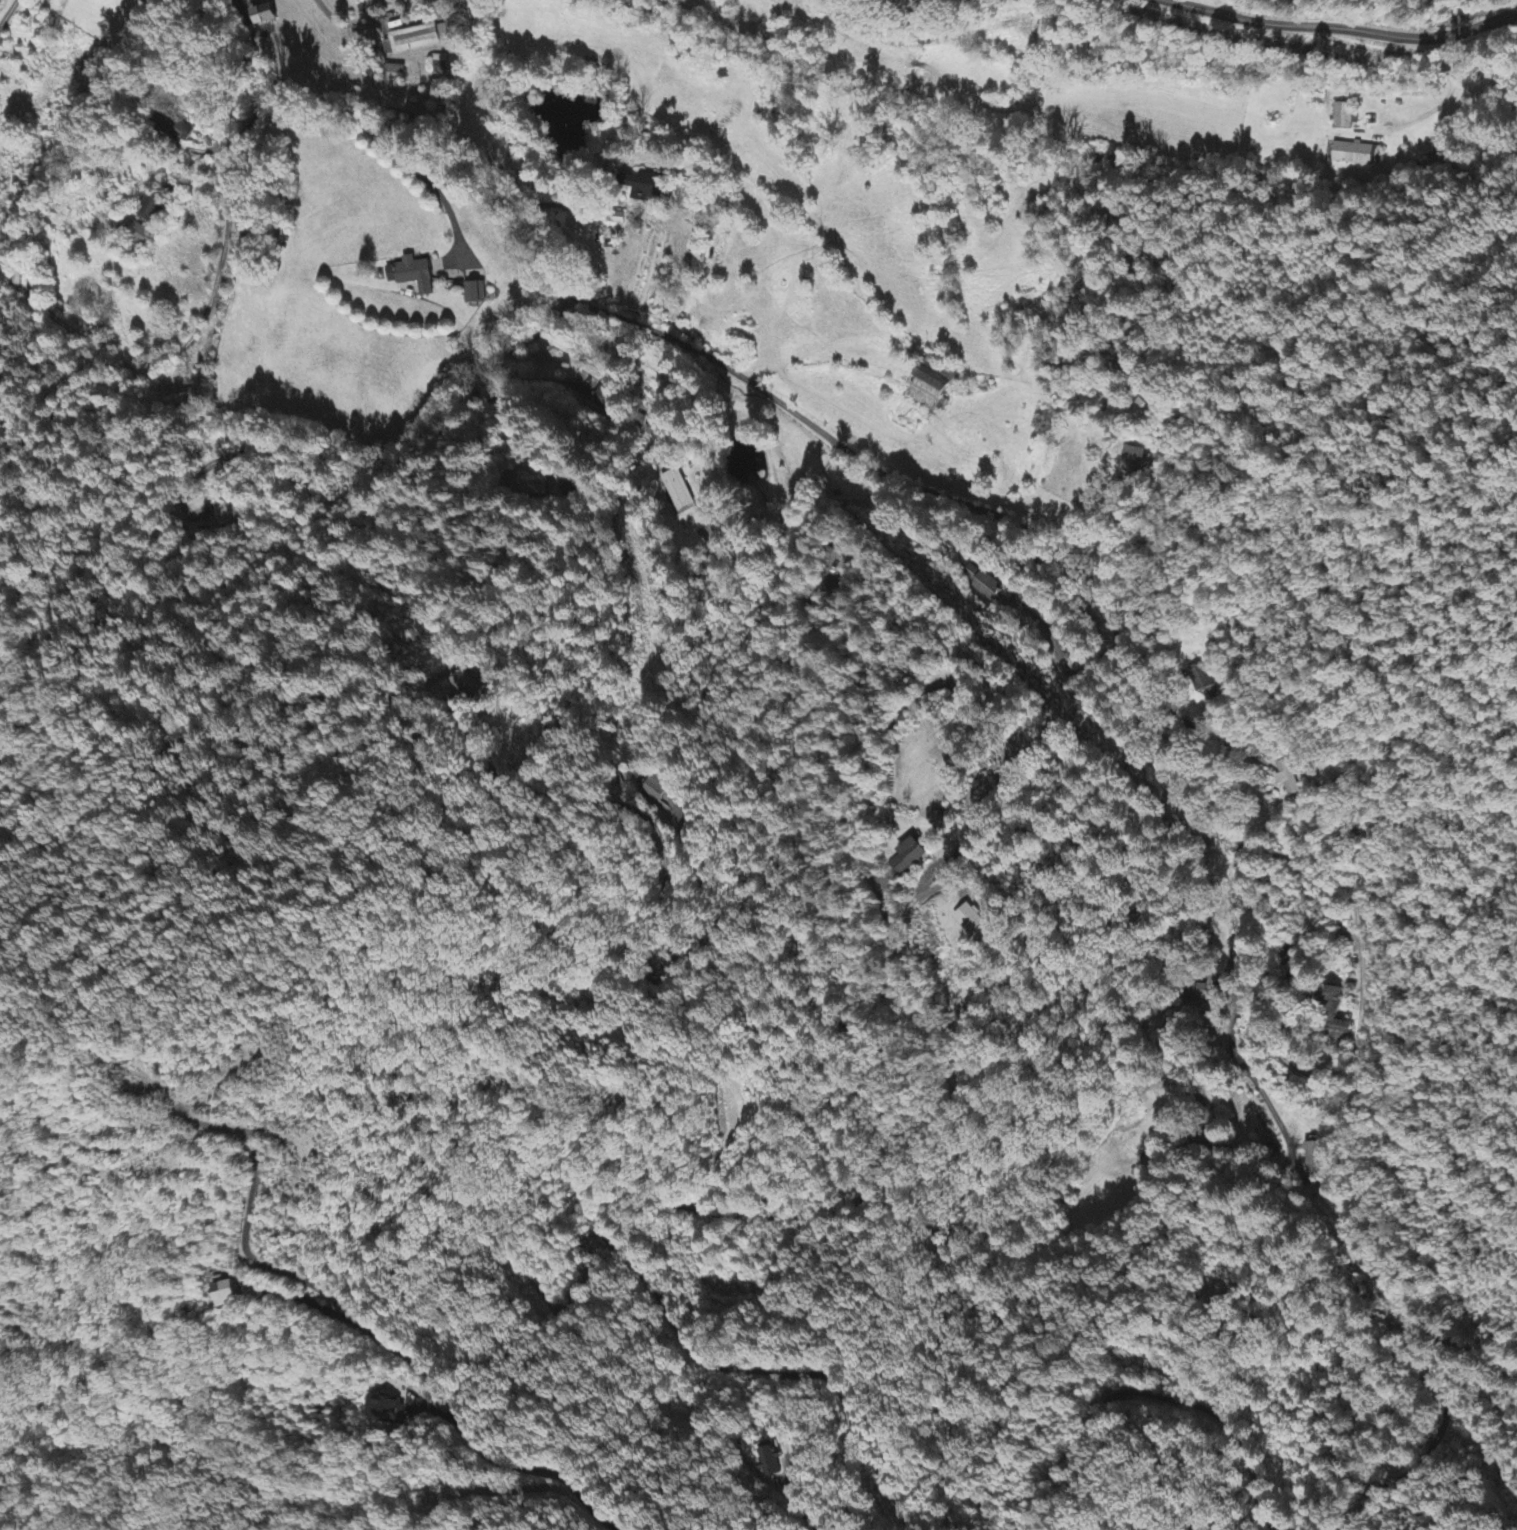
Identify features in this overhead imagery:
road: (8, 12)
building: (264, 15)
road: (1419, 38)
building: (417, 39)
road: (1342, 39)
building: (439, 65)
building: (1342, 117)
road: (254, 118)
building: (177, 132)
road: (184, 145)
building: (1356, 154)
road: (202, 166)
road: (422, 176)
building: (648, 188)
building: (149, 208)
building: (136, 232)
building: (412, 275)
building: (475, 294)
road: (538, 329)
road: (795, 358)
building: (165, 386)
building: (929, 391)
building: (608, 399)
road: (936, 414)
building: (1134, 457)
road: (352, 465)
road: (894, 474)
building: (677, 490)
building: (228, 514)
building: (982, 584)
building: (1201, 678)
building: (470, 685)
road: (892, 726)
building: (1286, 779)
building: (657, 789)
building: (909, 857)
building: (974, 919)
building: (1196, 993)
building: (1336, 994)
building: (1341, 1029)
road: (1322, 1061)
road: (1278, 1104)
building: (1313, 1157)
road: (1085, 1161)
road: (1319, 1205)
building: (229, 1295)
road: (665, 1311)
road: (364, 1325)
road: (1152, 1394)
road: (1440, 1394)
building: (387, 1410)
building: (779, 1466)

